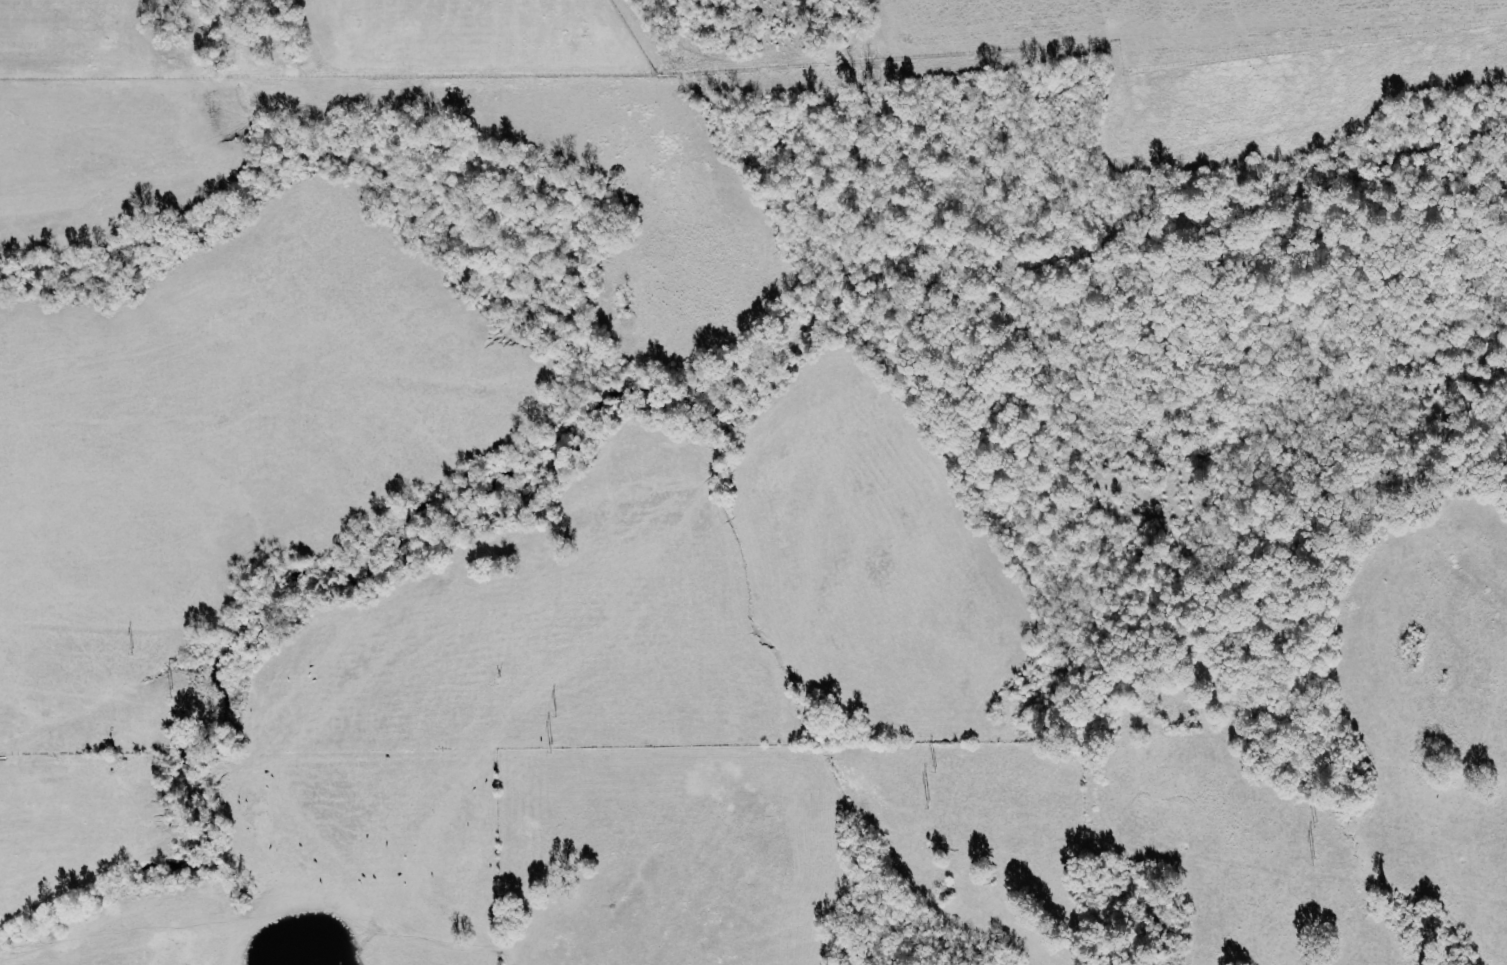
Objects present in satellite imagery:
power tower: (171, 692)
power tower: (547, 745)
power tower: (926, 802)
power tower: (1312, 858)

